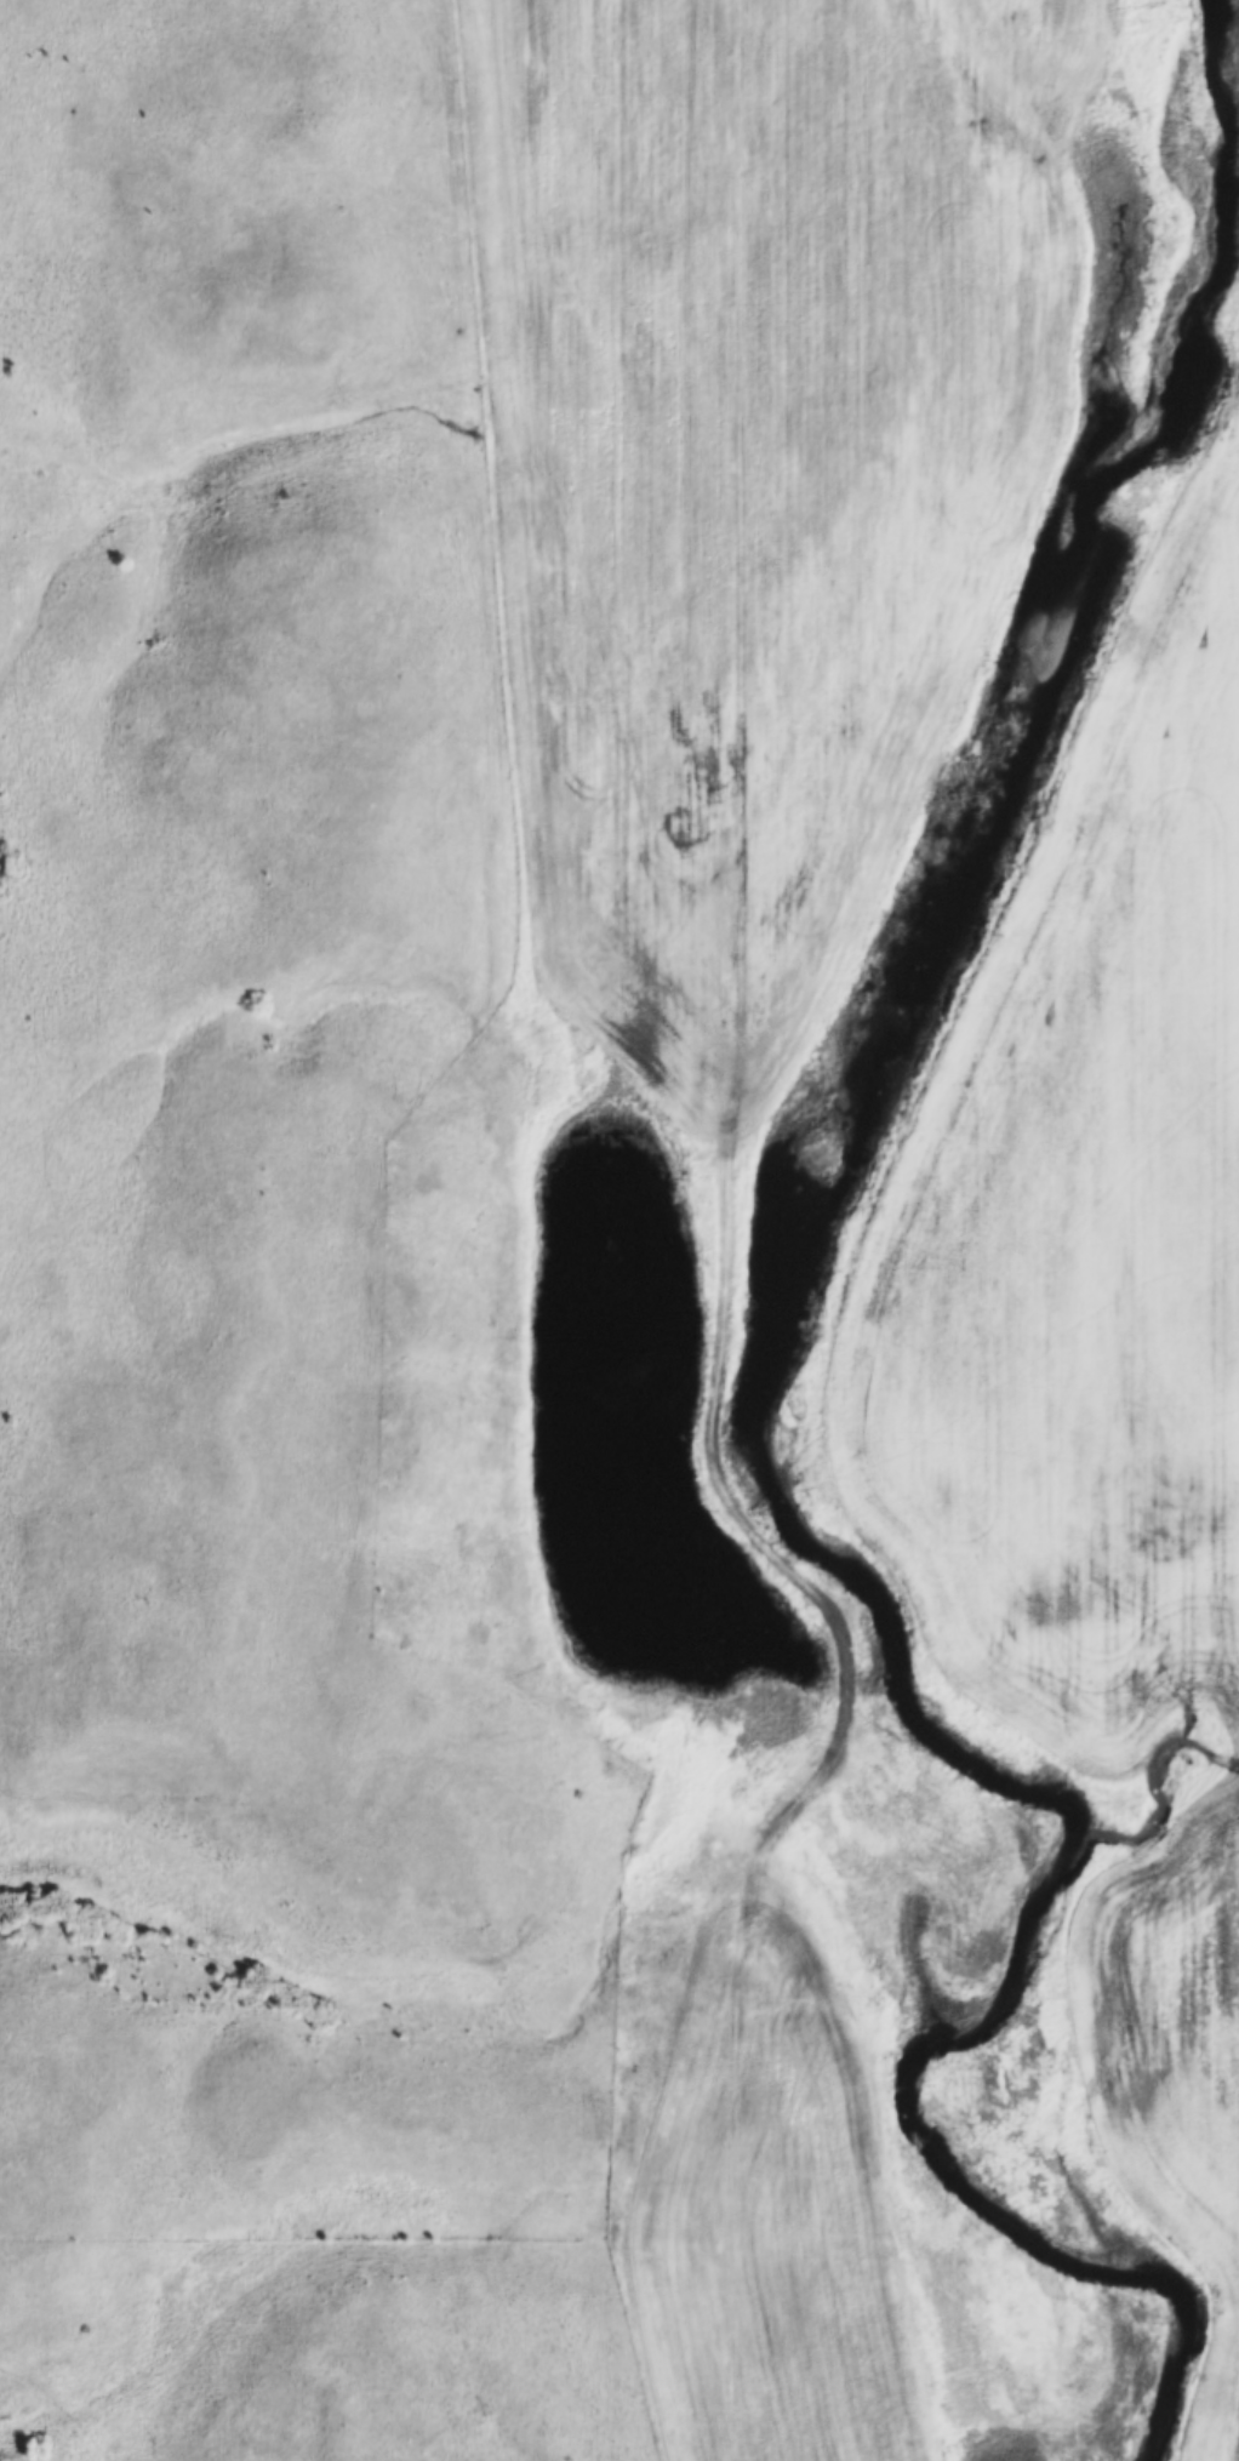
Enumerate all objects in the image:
river: (765, 1374)

